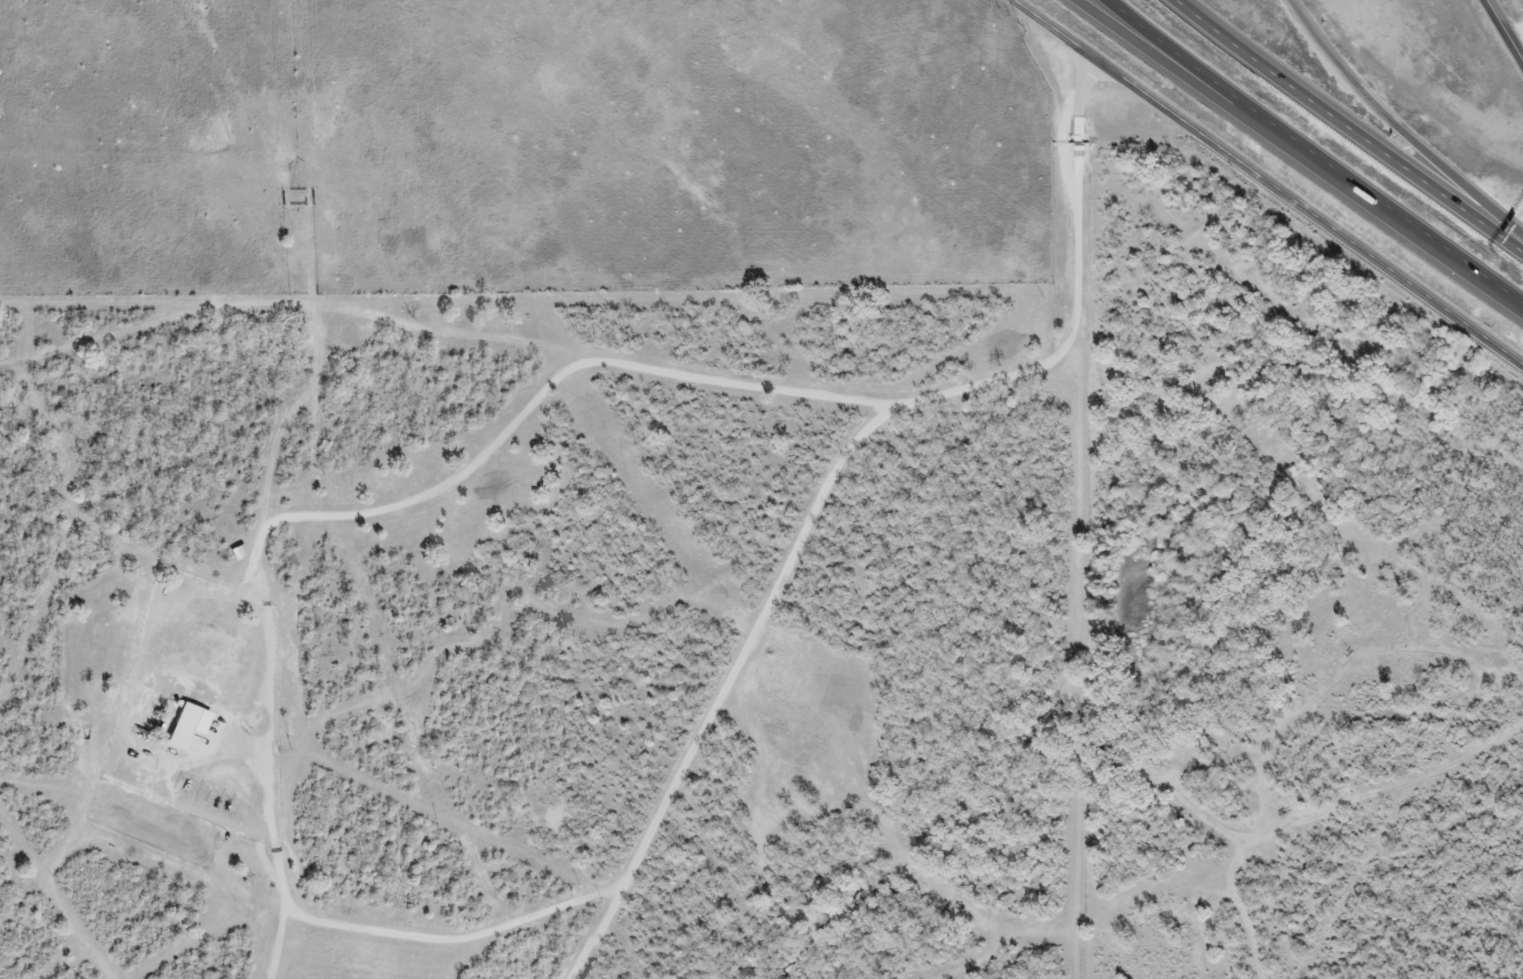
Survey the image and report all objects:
road: (1505, 30)
road: (1520, 49)
road: (1163, 55)
road: (1176, 55)
road: (1350, 123)
road: (1400, 128)
road: (1267, 181)
road: (1381, 208)
road: (837, 482)

